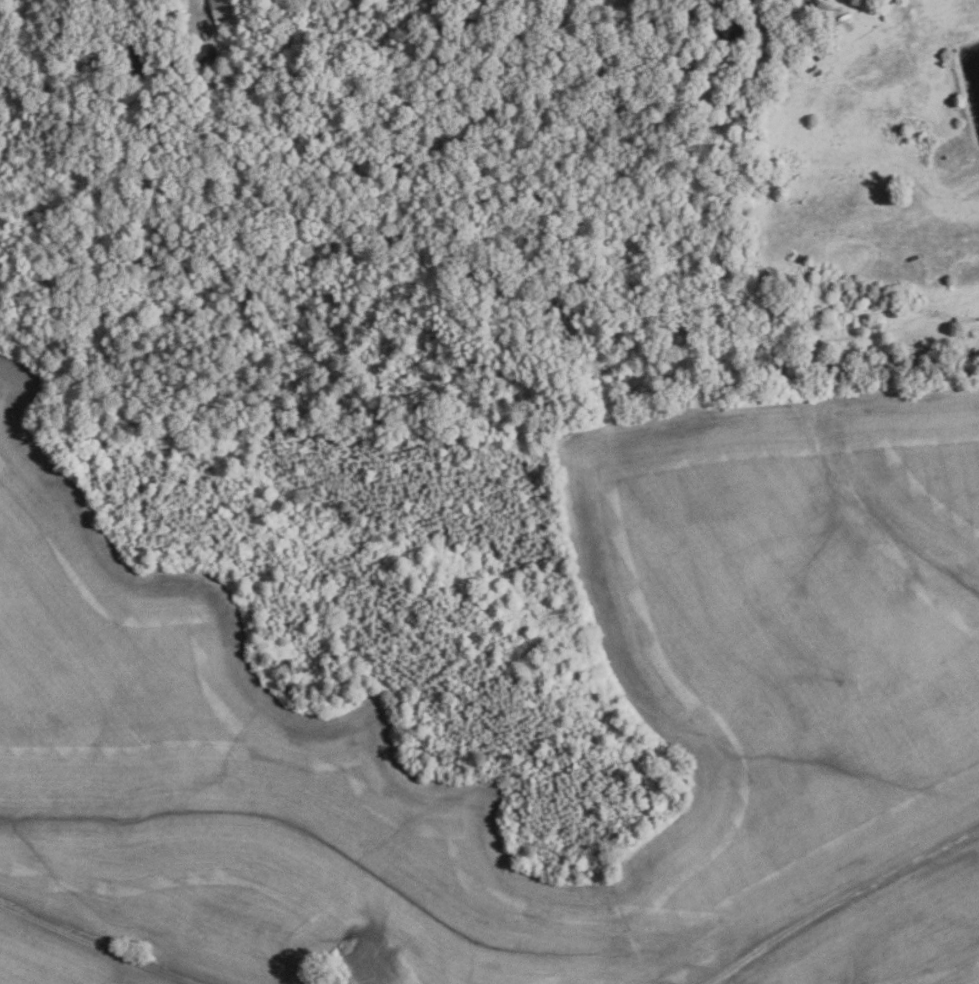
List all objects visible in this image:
road: (810, 1)
building: (221, 12)
road: (196, 17)
building: (733, 28)
building: (825, 48)
building: (200, 53)
building: (135, 55)
building: (235, 105)
road: (842, 900)
road: (96, 945)

